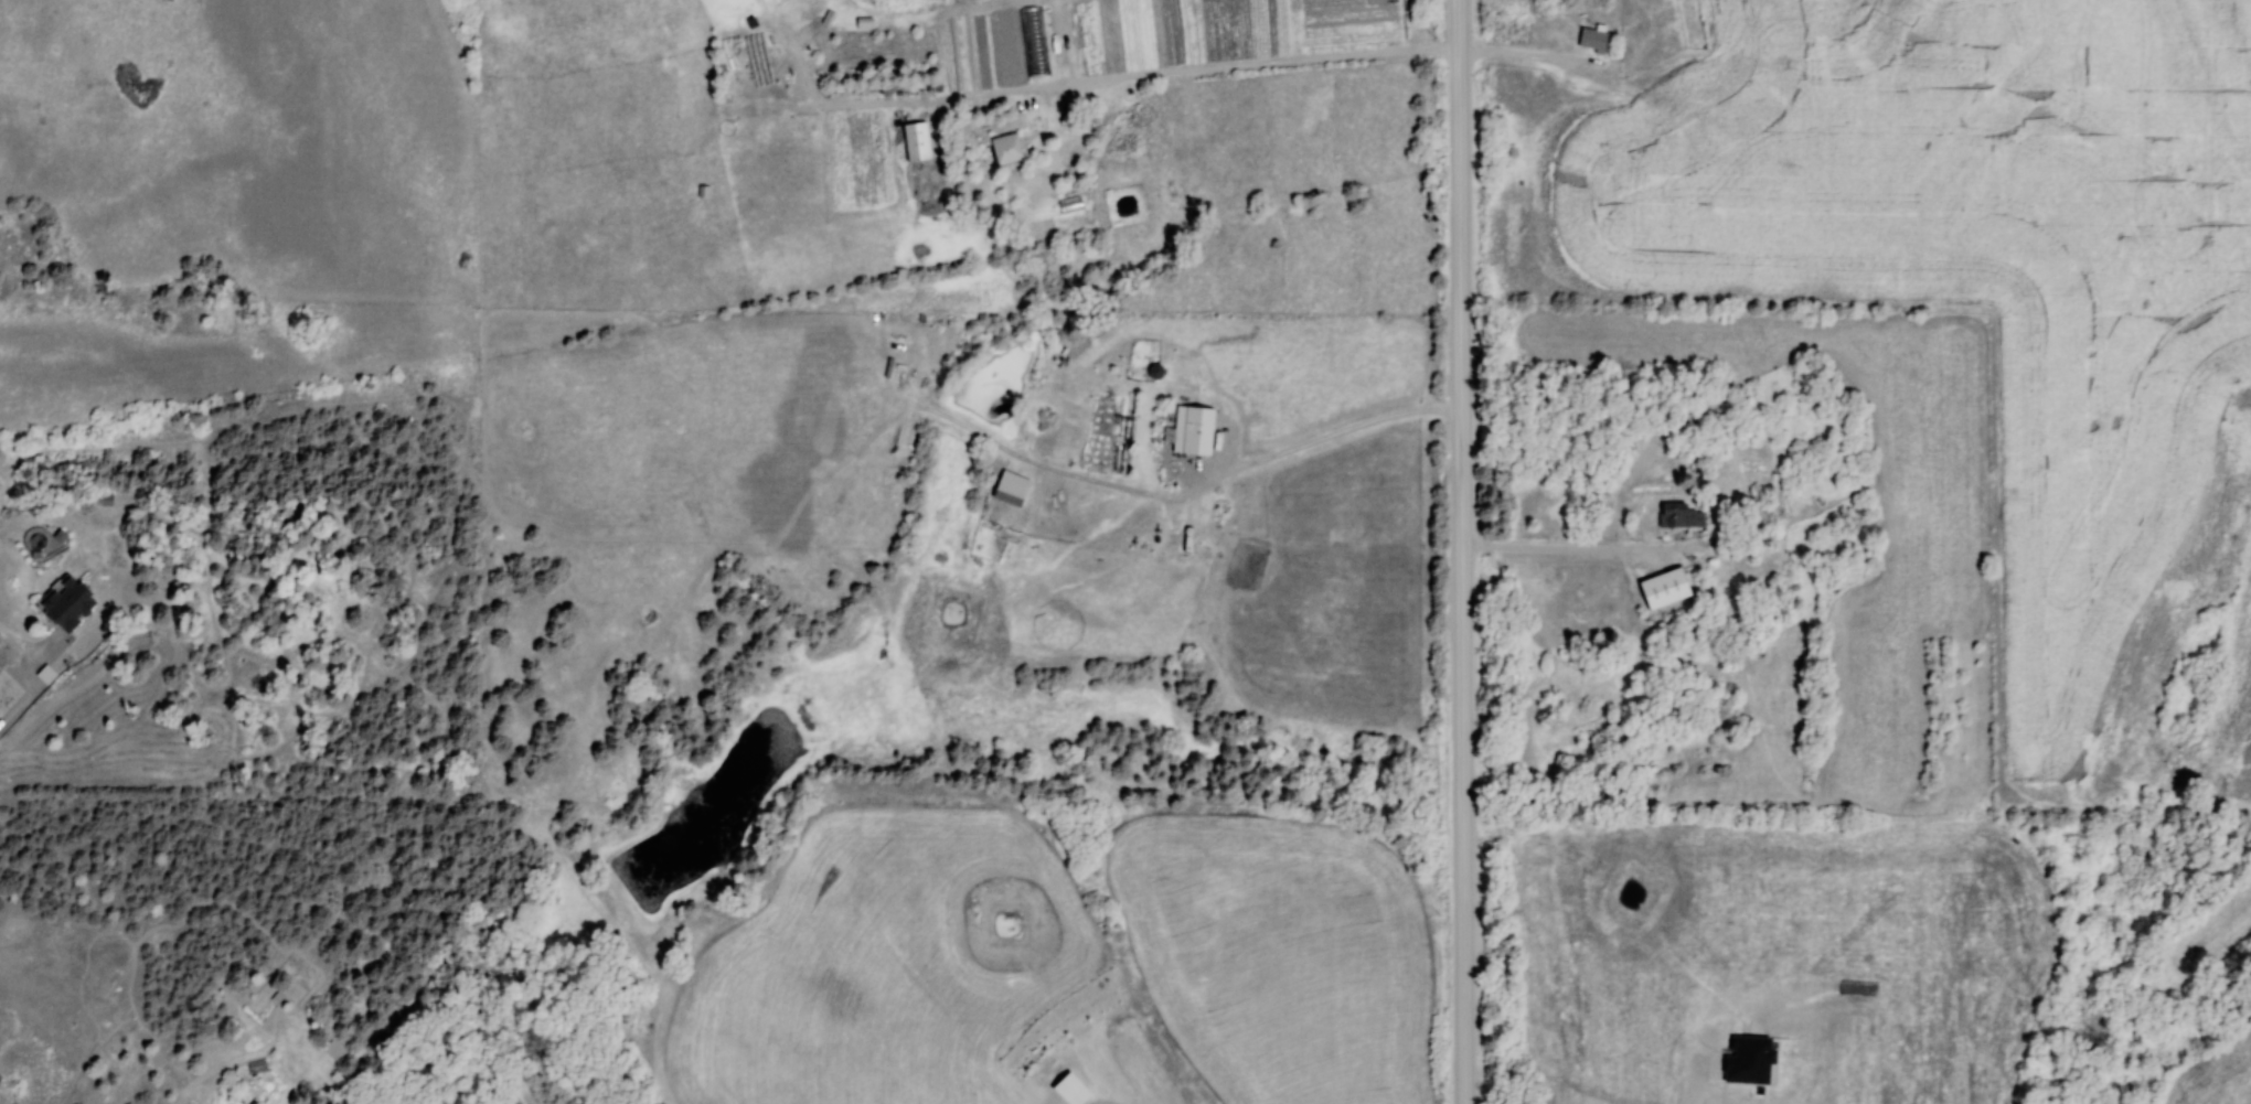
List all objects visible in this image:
building: (1591, 40)
road: (1528, 55)
road: (1090, 83)
building: (1082, 111)
building: (1004, 150)
building: (1191, 432)
road: (1330, 437)
building: (1678, 517)
road: (1573, 550)
road: (1463, 551)
building: (1662, 590)
building: (67, 603)
road: (18, 645)
building: (9, 693)
road: (1698, 1081)

